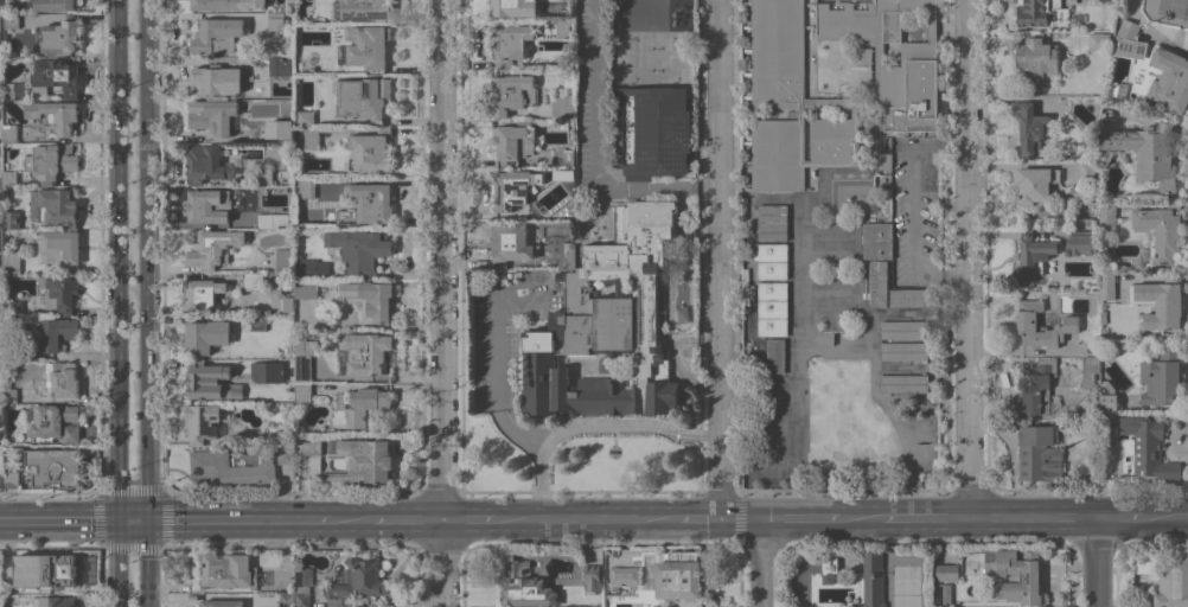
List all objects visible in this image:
building: (0, 2)
building: (11, 4)
building: (226, 4)
building: (55, 5)
building: (515, 7)
park: (1173, 8)
building: (365, 9)
building: (1042, 13)
building: (1080, 17)
building: (12, 20)
building: (275, 20)
building: (563, 28)
building: (4, 33)
building: (60, 36)
building: (217, 36)
building: (0, 39)
building: (1128, 40)
building: (511, 44)
building: (369, 47)
building: (894, 56)
building: (1035, 62)
building: (1081, 62)
building: (277, 65)
building: (860, 66)
building: (56, 76)
building: (216, 78)
building: (1170, 79)
building: (13, 90)
building: (512, 92)
building: (360, 97)
building: (787, 103)
building: (838, 103)
building: (562, 107)
building: (55, 114)
building: (212, 116)
building: (304, 117)
building: (1031, 128)
building: (285, 130)
building: (651, 130)
building: (9, 133)
building: (311, 138)
building: (1111, 139)
building: (512, 141)
building: (371, 151)
road: (595, 152)
building: (1154, 153)
building: (562, 158)
building: (883, 160)
building: (51, 161)
building: (205, 162)
building: (1086, 172)
building: (264, 177)
building: (8, 178)
building: (1035, 184)
building: (0, 186)
building: (529, 186)
building: (307, 187)
building: (6, 191)
building: (513, 191)
building: (368, 204)
building: (209, 205)
building: (53, 206)
road: (911, 210)
building: (645, 213)
building: (1107, 216)
building: (11, 219)
building: (268, 221)
building: (772, 223)
building: (1161, 230)
building: (876, 239)
building: (1081, 243)
building: (510, 244)
building: (215, 248)
building: (59, 249)
building: (360, 249)
building: (1104, 250)
building: (1034, 254)
building: (566, 255)
building: (1, 256)
road: (718, 257)
road: (972, 257)
road: (119, 258)
road: (147, 258)
building: (282, 260)
building: (11, 261)
building: (772, 261)
building: (311, 268)
building: (280, 277)
building: (253, 281)
building: (877, 283)
building: (1107, 285)
building: (0, 288)
building: (305, 289)
building: (58, 293)
building: (204, 295)
building: (913, 296)
building: (370, 299)
building: (1158, 302)
building: (287, 303)
road: (445, 303)
building: (13, 307)
building: (772, 308)
building: (257, 322)
building: (1042, 325)
building: (903, 328)
building: (57, 332)
building: (606, 332)
building: (309, 333)
building: (203, 336)
building: (0, 347)
building: (9, 351)
building: (365, 351)
building: (903, 351)
building: (775, 354)
road: (672, 356)
building: (302, 357)
road: (494, 362)
building: (267, 371)
building: (1090, 371)
building: (1162, 377)
building: (62, 378)
building: (0, 382)
building: (211, 383)
building: (905, 383)
building: (1105, 383)
building: (1037, 386)
building: (302, 391)
building: (0, 395)
building: (9, 395)
building: (1120, 401)
building: (365, 407)
building: (202, 421)
building: (53, 422)
building: (333, 424)
road: (626, 427)
building: (308, 446)
building: (1149, 447)
building: (1040, 452)
building: (285, 454)
building: (364, 461)
building: (55, 466)
building: (229, 468)
building: (11, 479)
road: (538, 483)
road: (801, 515)
road: (861, 515)
road: (927, 515)
road: (1035, 515)
road: (1184, 515)
road: (698, 516)
road: (742, 516)
road: (1119, 516)
road: (1161, 516)
road: (351, 517)
road: (409, 517)
road: (468, 517)
road: (585, 517)
road: (59, 518)
traffic signals: (119, 518)
road: (133, 518)
traffic signals: (147, 518)
road: (237, 518)
road: (764, 561)
road: (1098, 561)
road: (119, 562)
road: (146, 562)
building: (1144, 563)
building: (45, 570)
building: (229, 570)
building: (947, 573)
building: (1016, 574)
building: (621, 575)
building: (683, 575)
building: (592, 577)
building: (873, 579)
building: (356, 581)
building: (1173, 584)
building: (304, 586)
building: (525, 586)
building: (944, 594)
building: (287, 600)
building: (55, 601)
building: (222, 602)

